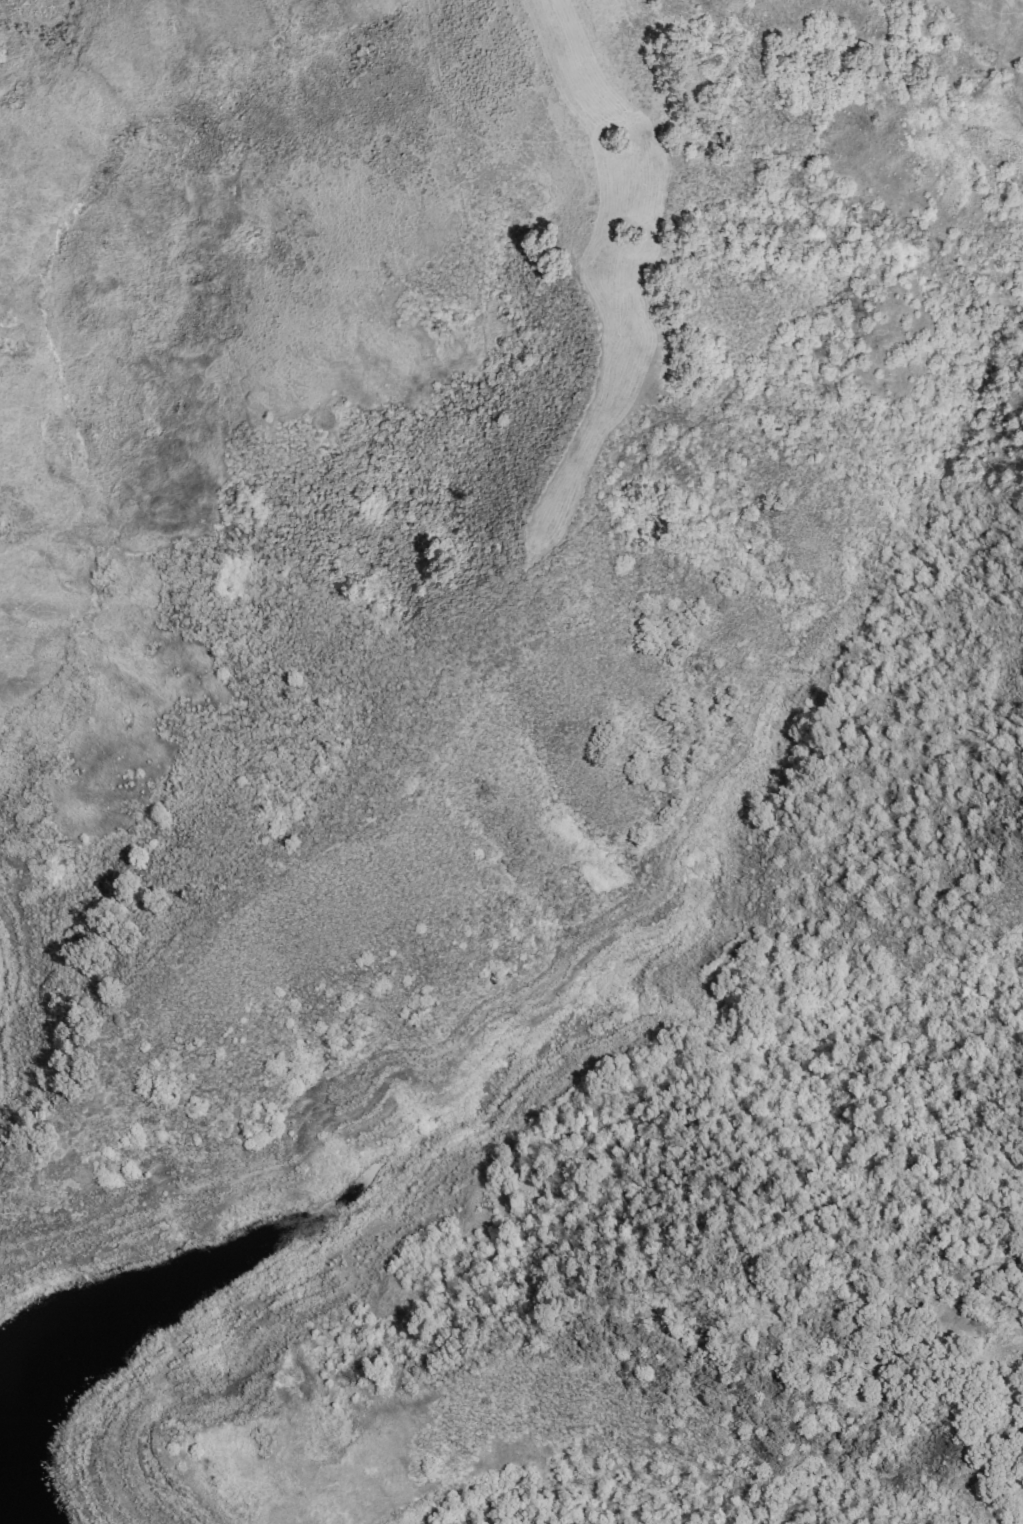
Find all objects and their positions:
road: (575, 54)

